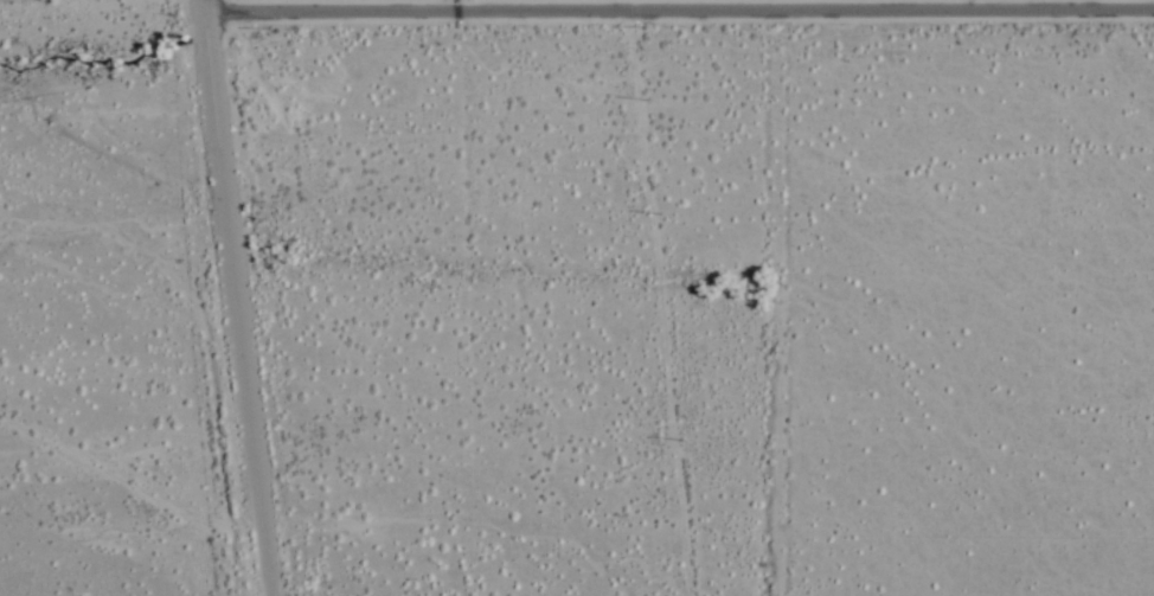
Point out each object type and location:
road: (205, 6)
road: (628, 8)
road: (680, 17)
road: (238, 303)

